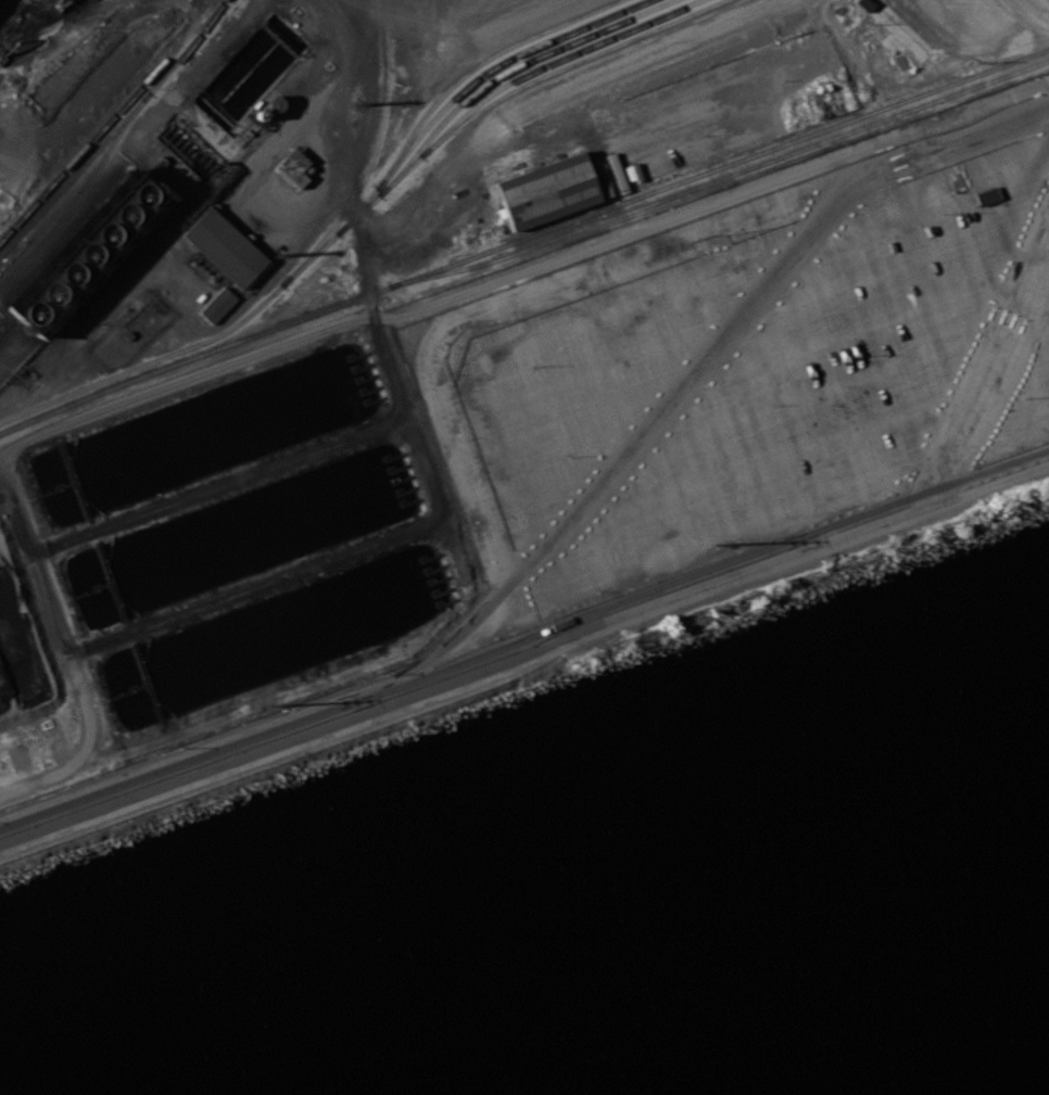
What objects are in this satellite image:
railway: (548, 63)
railway: (492, 67)
railway: (506, 69)
railway: (1013, 72)
railway: (451, 86)
railway: (922, 93)
railway: (109, 118)
railway: (114, 129)
road: (130, 150)
railway: (370, 155)
building: (545, 189)
railway: (684, 190)
railway: (80, 194)
railway: (643, 194)
building: (986, 195)
road: (354, 203)
railway: (362, 209)
building: (223, 247)
building: (84, 251)
building: (216, 305)
railway: (244, 338)
road: (706, 352)
road: (987, 359)
road: (8, 446)
road: (13, 500)
road: (43, 589)
road: (523, 636)
road: (526, 659)

